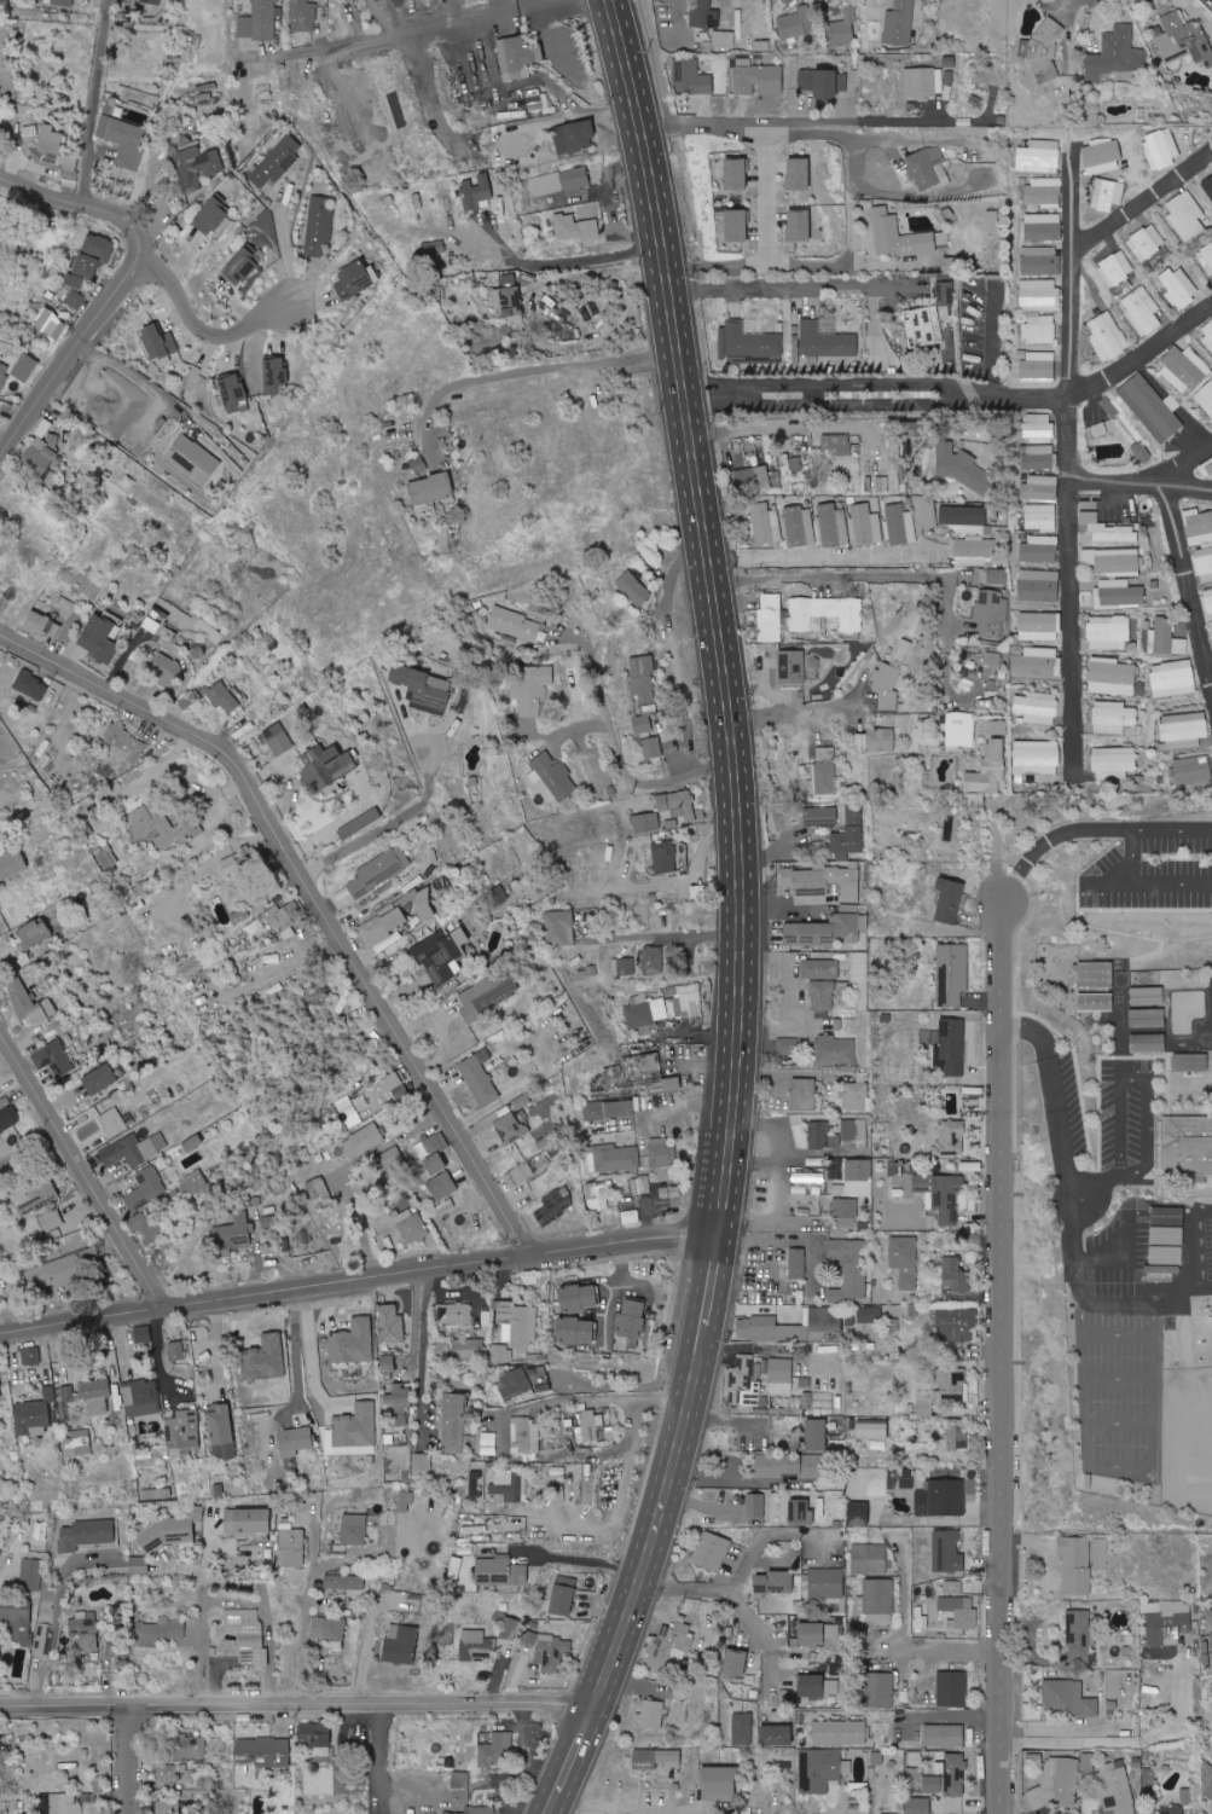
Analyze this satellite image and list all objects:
building: (151, 1)
road: (615, 1)
building: (62, 2)
road: (1102, 2)
road: (1195, 13)
building: (303, 16)
building: (704, 16)
building: (842, 16)
building: (259, 21)
building: (795, 23)
building: (899, 23)
road: (401, 28)
building: (840, 35)
building: (724, 39)
building: (1184, 40)
building: (1045, 48)
building: (1115, 54)
building: (518, 57)
building: (690, 77)
building: (758, 77)
building: (823, 82)
building: (924, 82)
building: (0, 88)
road: (85, 100)
building: (538, 102)
building: (401, 109)
road: (874, 121)
road: (771, 129)
building: (575, 137)
building: (51, 139)
building: (123, 139)
building: (521, 141)
building: (1161, 147)
building: (1038, 156)
building: (1102, 156)
building: (278, 161)
building: (197, 167)
building: (928, 169)
building: (70, 170)
building: (737, 173)
building: (799, 173)
building: (559, 181)
building: (1206, 191)
building: (477, 192)
building: (1043, 192)
building: (1107, 195)
road: (1142, 201)
building: (1, 213)
building: (1185, 214)
building: (213, 216)
building: (992, 220)
building: (319, 225)
building: (738, 225)
building: (800, 225)
building: (1043, 227)
building: (575, 228)
building: (899, 236)
building: (1146, 242)
road: (770, 248)
building: (434, 249)
building: (94, 255)
building: (1206, 257)
road: (569, 260)
building: (1040, 261)
building: (244, 265)
building: (952, 265)
building: (1113, 267)
building: (356, 279)
road: (120, 283)
road: (795, 286)
building: (1179, 286)
building: (75, 291)
building: (945, 294)
building: (1040, 295)
building: (508, 297)
building: (1142, 311)
building: (51, 324)
building: (923, 324)
road: (201, 326)
building: (1107, 335)
building: (1207, 335)
building: (827, 341)
building: (160, 343)
building: (748, 344)
building: (1039, 366)
building: (25, 367)
building: (1183, 369)
road: (530, 371)
building: (4, 373)
building: (276, 375)
road: (135, 377)
building: (233, 393)
road: (964, 396)
building: (1205, 396)
building: (1152, 407)
building: (1038, 427)
building: (44, 428)
road: (777, 428)
building: (1100, 428)
building: (836, 445)
building: (1136, 452)
building: (1040, 457)
building: (44, 459)
building: (193, 459)
road: (1073, 463)
building: (418, 464)
building: (958, 466)
building: (1206, 469)
building: (753, 477)
building: (1040, 487)
building: (433, 488)
road: (1149, 491)
road: (1189, 495)
building: (928, 511)
building: (1040, 517)
building: (964, 518)
building: (37, 521)
building: (765, 525)
building: (833, 525)
building: (866, 525)
building: (900, 525)
building: (1199, 526)
building: (800, 527)
building: (1107, 529)
building: (1040, 549)
building: (975, 551)
road: (827, 554)
building: (1113, 561)
building: (1204, 563)
building: (993, 576)
building: (1039, 586)
building: (634, 587)
building: (1119, 593)
road: (1189, 593)
building: (1208, 599)
building: (990, 613)
building: (824, 614)
building: (770, 618)
building: (42, 625)
building: (515, 625)
building: (1039, 626)
building: (209, 631)
building: (1108, 632)
building: (100, 638)
building: (1166, 638)
building: (993, 659)
building: (1037, 661)
building: (791, 667)
building: (166, 670)
building: (643, 677)
building: (1112, 677)
building: (891, 678)
building: (1172, 678)
building: (30, 688)
building: (530, 688)
building: (424, 689)
building: (224, 697)
building: (1037, 707)
road: (804, 708)
building: (1113, 717)
building: (643, 724)
building: (998, 728)
building: (959, 730)
building: (1183, 730)
building: (877, 738)
building: (279, 740)
building: (124, 744)
building: (653, 747)
building: (1036, 757)
road: (619, 759)
building: (1114, 763)
building: (326, 766)
building: (825, 770)
building: (988, 770)
building: (1193, 770)
building: (551, 778)
building: (976, 800)
building: (678, 805)
road: (399, 816)
building: (822, 816)
building: (349, 817)
building: (645, 823)
building: (360, 824)
building: (161, 825)
building: (849, 834)
road: (1051, 835)
road: (1133, 854)
building: (106, 856)
building: (665, 857)
building: (233, 863)
building: (12, 864)
building: (379, 871)
road: (1107, 882)
building: (823, 883)
road: (311, 892)
building: (696, 892)
building: (441, 897)
building: (950, 902)
building: (423, 905)
building: (230, 914)
road: (740, 915)
building: (279, 917)
building: (383, 925)
building: (559, 927)
building: (829, 928)
building: (35, 934)
road: (655, 935)
building: (442, 955)
building: (859, 956)
building: (653, 960)
building: (191, 967)
building: (624, 967)
building: (820, 969)
building: (587, 972)
building: (952, 975)
building: (1096, 975)
building: (488, 995)
building: (822, 995)
building: (1148, 996)
building: (318, 997)
building: (685, 1001)
building: (1096, 1002)
building: (30, 1003)
building: (644, 1012)
building: (1148, 1018)
building: (1149, 1043)
building: (788, 1045)
building: (951, 1048)
building: (835, 1050)
building: (54, 1060)
building: (1191, 1062)
building: (636, 1070)
road: (1143, 1073)
building: (480, 1078)
building: (102, 1079)
building: (672, 1084)
building: (392, 1089)
road: (1059, 1091)
building: (804, 1095)
building: (858, 1096)
building: (522, 1101)
building: (4, 1103)
building: (609, 1109)
building: (348, 1111)
parking lot: (1062, 1112)
building: (8, 1119)
building: (112, 1123)
building: (511, 1129)
building: (854, 1129)
building: (822, 1136)
building: (952, 1138)
building: (363, 1141)
building: (193, 1143)
building: (1187, 1146)
building: (134, 1149)
building: (662, 1153)
building: (390, 1159)
building: (616, 1159)
building: (436, 1166)
road: (81, 1167)
building: (837, 1170)
building: (522, 1175)
building: (807, 1177)
building: (859, 1178)
building: (195, 1182)
building: (640, 1184)
building: (799, 1188)
building: (146, 1189)
building: (319, 1192)
building: (671, 1192)
building: (286, 1195)
building: (941, 1195)
building: (40, 1205)
building: (555, 1206)
building: (845, 1212)
building: (1168, 1216)
building: (631, 1217)
building: (268, 1221)
road: (1071, 1227)
building: (414, 1229)
building: (233, 1234)
road: (818, 1236)
building: (1167, 1236)
parking lot: (1118, 1246)
building: (848, 1252)
road: (769, 1254)
building: (1167, 1256)
road: (1118, 1258)
building: (904, 1260)
building: (798, 1263)
building: (64, 1270)
building: (955, 1274)
road: (358, 1276)
building: (851, 1287)
building: (579, 1297)
road: (1117, 1303)
building: (454, 1314)
building: (870, 1314)
building: (956, 1320)
building: (633, 1321)
building: (833, 1322)
building: (390, 1323)
building: (517, 1325)
building: (770, 1329)
building: (575, 1331)
road: (1118, 1335)
building: (354, 1341)
road: (309, 1345)
road: (424, 1349)
building: (468, 1349)
road: (750, 1349)
building: (501, 1354)
building: (30, 1355)
road: (999, 1356)
building: (266, 1357)
building: (388, 1362)
building: (781, 1377)
building: (905, 1377)
road: (1119, 1378)
building: (540, 1379)
building: (743, 1381)
building: (515, 1383)
building: (953, 1383)
road: (625, 1384)
building: (0, 1390)
building: (68, 1393)
building: (97, 1395)
building: (141, 1397)
building: (399, 1397)
building: (924, 1409)
building: (33, 1418)
building: (290, 1421)
building: (454, 1422)
road: (1119, 1424)
road: (501, 1426)
building: (590, 1427)
building: (184, 1428)
building: (222, 1430)
building: (356, 1430)
building: (872, 1430)
building: (817, 1432)
building: (957, 1436)
building: (526, 1437)
building: (489, 1438)
building: (296, 1441)
building: (79, 1443)
building: (423, 1461)
building: (789, 1465)
road: (1118, 1465)
building: (877, 1482)
building: (906, 1482)
building: (509, 1486)
building: (157, 1494)
building: (943, 1497)
building: (404, 1501)
road: (619, 1503)
building: (755, 1505)
building: (820, 1507)
building: (801, 1511)
building: (859, 1513)
building: (247, 1520)
building: (173, 1528)
building: (354, 1529)
road: (760, 1541)
building: (292, 1547)
building: (947, 1551)
building: (713, 1552)
building: (1100, 1554)
road: (581, 1558)
building: (877, 1558)
building: (1075, 1564)
building: (456, 1566)
building: (31, 1570)
building: (500, 1570)
building: (344, 1582)
building: (775, 1582)
building: (827, 1582)
road: (679, 1587)
building: (953, 1587)
building: (563, 1594)
building: (877, 1600)
building: (959, 1611)
road: (307, 1612)
road: (202, 1617)
building: (17, 1618)
road: (56, 1621)
building: (1168, 1623)
building: (329, 1628)
building: (86, 1630)
road: (759, 1630)
building: (160, 1632)
building: (817, 1633)
building: (249, 1635)
building: (1078, 1635)
building: (41, 1639)
building: (401, 1644)
building: (671, 1644)
building: (475, 1645)
road: (947, 1647)
building: (0, 1651)
building: (552, 1652)
building: (736, 1663)
building: (817, 1685)
building: (952, 1688)
building: (1068, 1698)
road: (295, 1702)
building: (651, 1714)
road: (952, 1715)
building: (743, 1728)
building: (465, 1729)
building: (839, 1732)
building: (777, 1734)
building: (317, 1735)
building: (945, 1735)
road: (1131, 1740)
building: (495, 1749)
building: (262, 1751)
road: (127, 1757)
building: (182, 1758)
building: (657, 1758)
building: (1088, 1762)
building: (820, 1768)
building: (956, 1774)
building: (462, 1779)
building: (720, 1783)
building: (933, 1784)
building: (1055, 1784)
building: (1117, 1786)
building: (1207, 1787)
building: (64, 1803)
building: (918, 1806)
building: (167, 1807)
road: (637, 1809)
building: (476, 1810)
building: (1173, 1810)
building: (857, 1812)

